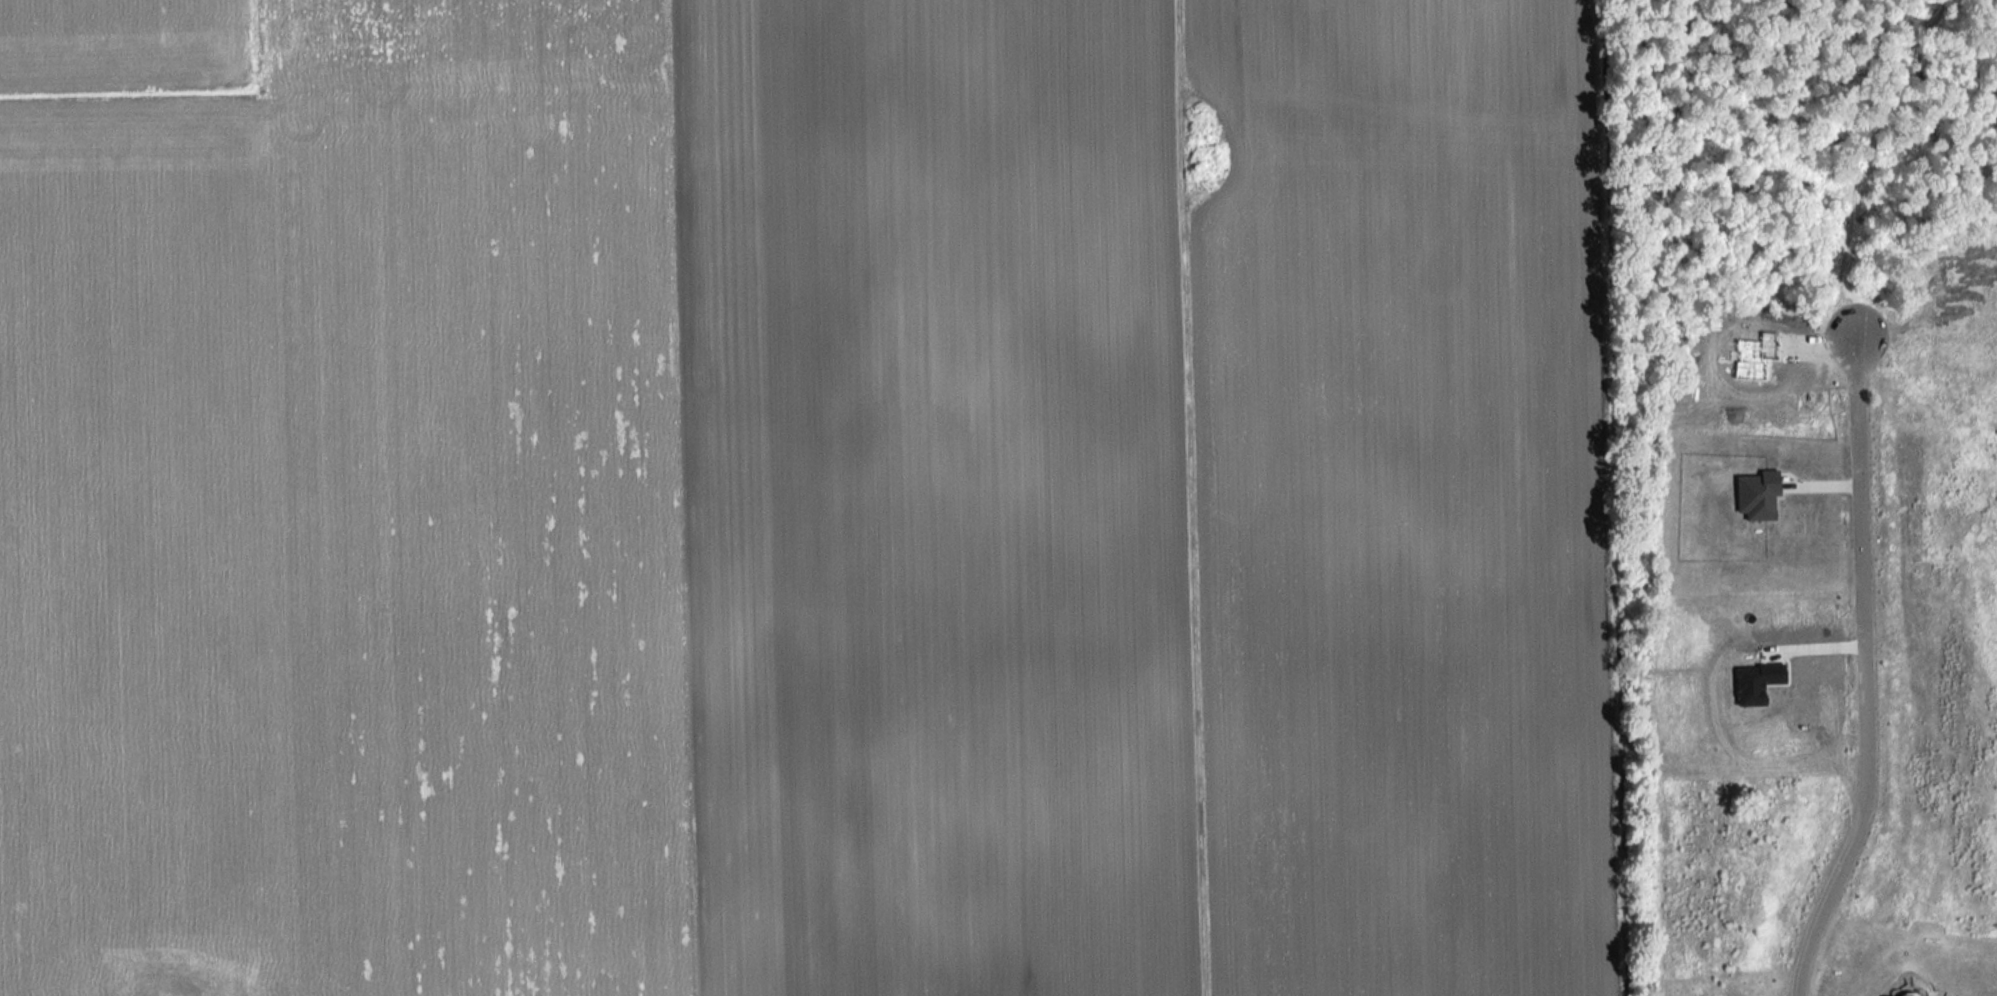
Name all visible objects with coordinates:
crop: (121, 44)
crop: (814, 507)
road: (1865, 675)
building: (1902, 992)

